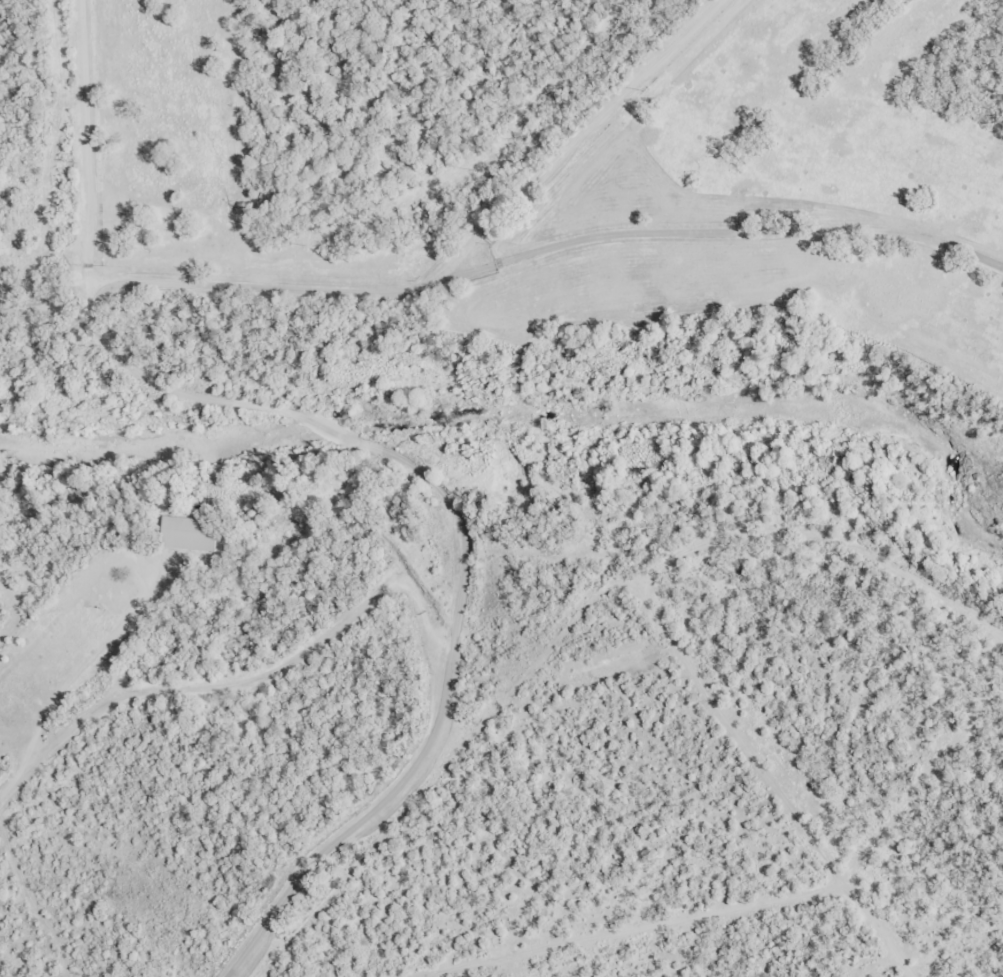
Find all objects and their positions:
road: (695, 128)
road: (482, 235)
road: (799, 265)
road: (530, 283)
river: (486, 419)
road: (553, 499)
building: (192, 533)
river: (973, 538)

